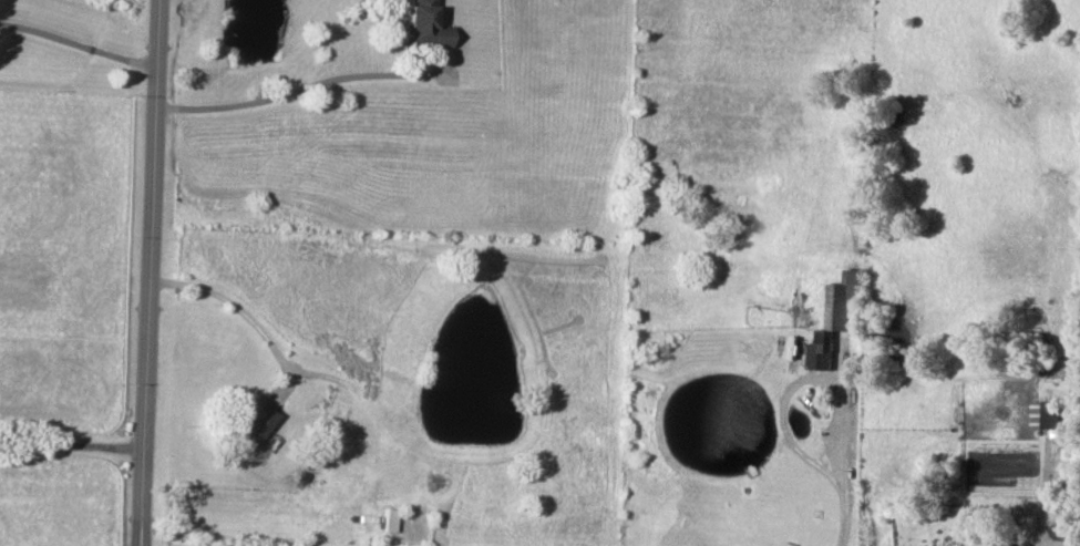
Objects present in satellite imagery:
building: (421, 25)
road: (79, 44)
road: (294, 90)
road: (152, 272)
road: (237, 307)
building: (836, 318)
road: (803, 379)
building: (1048, 415)
building: (255, 424)
road: (73, 444)
road: (844, 517)
building: (388, 519)

